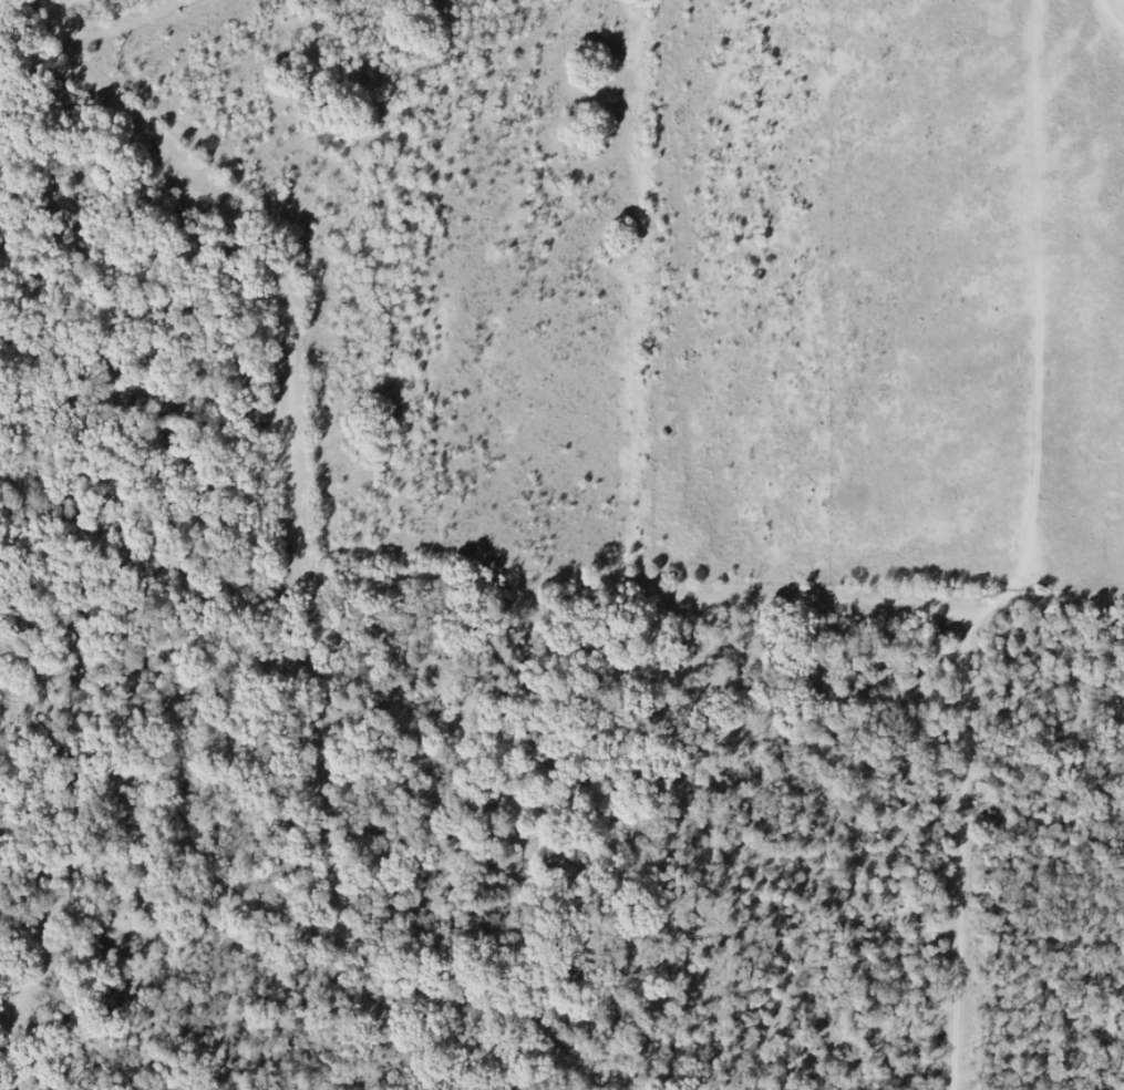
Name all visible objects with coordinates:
road: (1018, 553)

